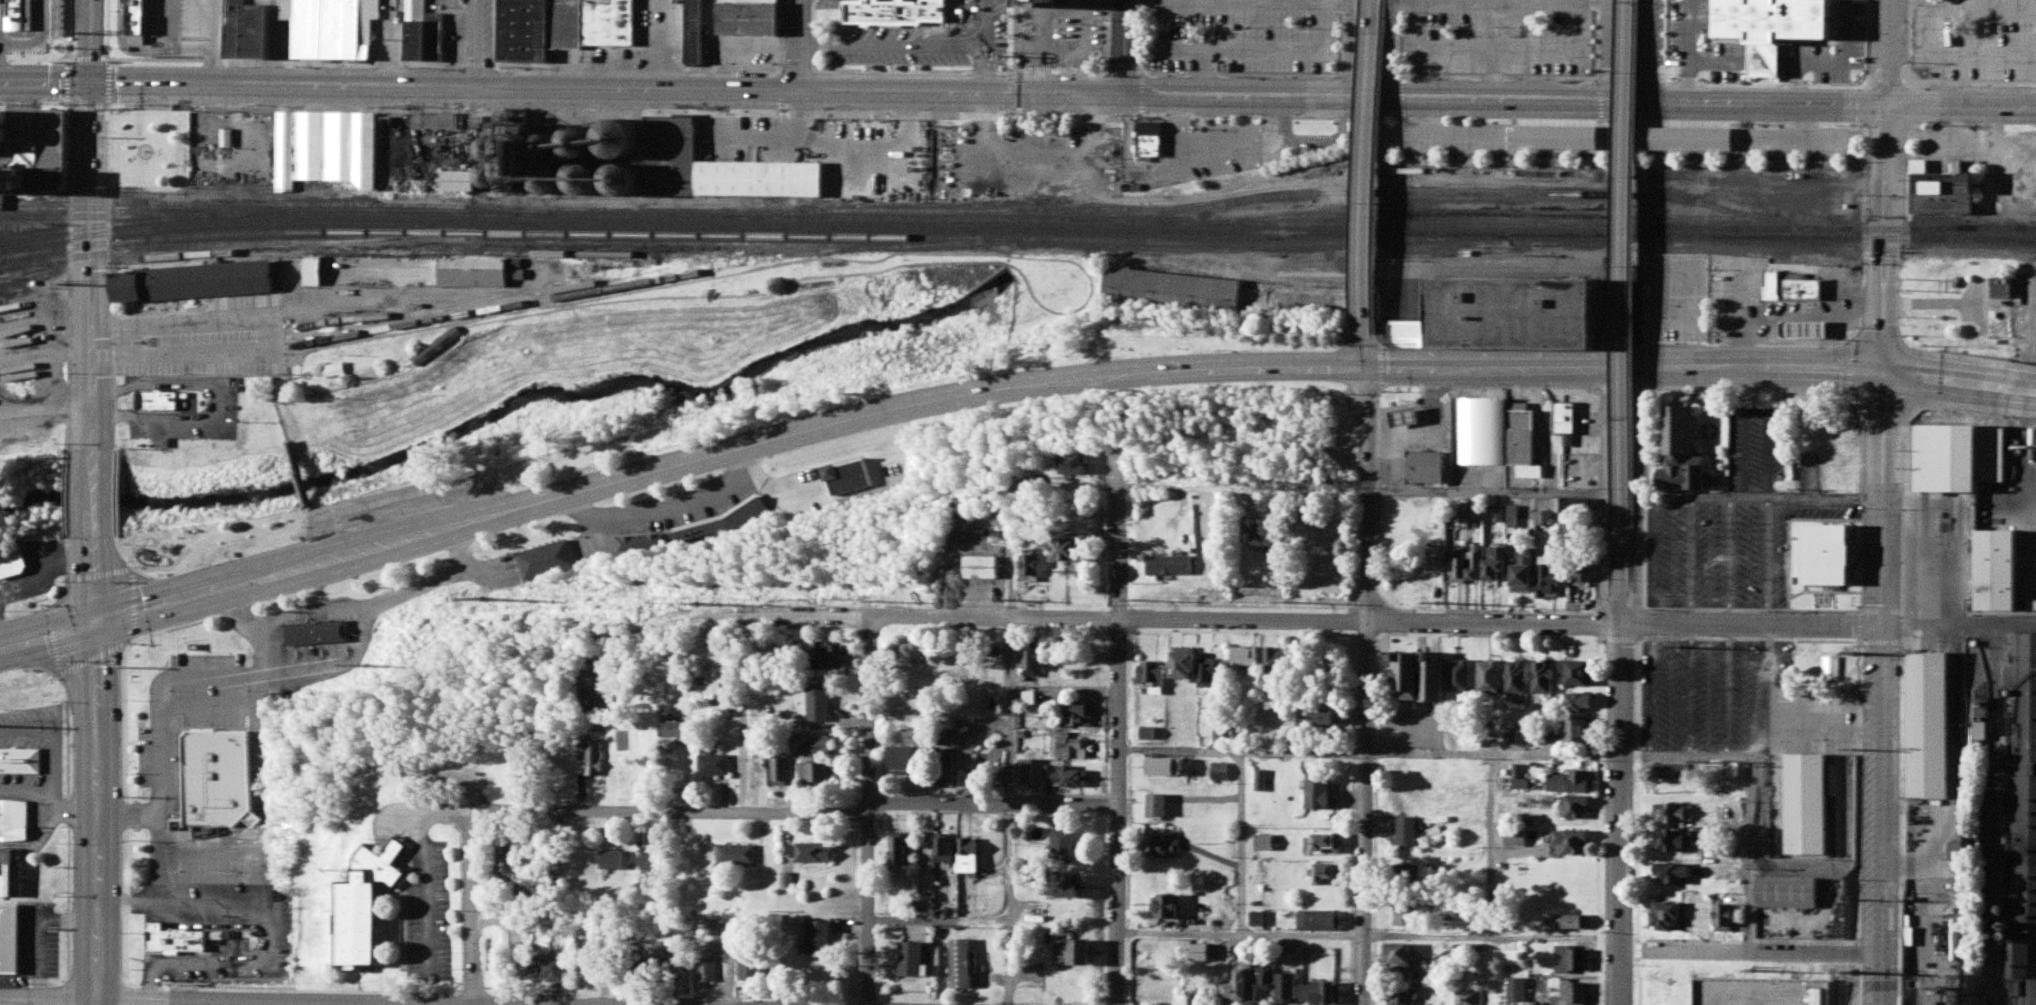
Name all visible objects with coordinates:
building: (896, 11)
building: (1773, 24)
road: (807, 38)
road: (921, 39)
road: (91, 42)
road: (483, 42)
road: (643, 43)
road: (797, 45)
road: (1126, 46)
road: (1352, 47)
road: (1390, 47)
road: (1607, 48)
road: (1649, 48)
road: (985, 49)
road: (1887, 49)
road: (985, 74)
road: (45, 83)
traffic signals: (91, 84)
road: (989, 91)
road: (1961, 101)
building: (718, 170)
road: (1371, 170)
building: (462, 174)
building: (1948, 195)
railway: (1285, 197)
railway: (108, 200)
railway: (276, 207)
railway: (275, 215)
railway: (1494, 216)
railway: (26, 221)
railway: (1294, 224)
railway: (108, 226)
railway: (2021, 228)
railway: (1017, 230)
road: (1885, 230)
railway: (1676, 233)
railway: (737, 237)
railway: (229, 245)
railway: (647, 255)
road: (88, 267)
building: (473, 274)
building: (195, 283)
building: (1521, 288)
building: (1794, 288)
building: (2003, 288)
building: (1172, 294)
railway: (523, 296)
road: (1622, 298)
railway: (544, 301)
building: (1807, 331)
road: (272, 338)
parking lot: (204, 340)
building: (437, 346)
road: (1669, 357)
traffic signals: (1366, 360)
traffic signals: (1882, 362)
road: (1109, 375)
road: (2003, 382)
railway: (324, 393)
building: (1409, 400)
gas station: (1409, 400)
building: (158, 402)
road: (275, 402)
road: (44, 406)
building: (1566, 407)
building: (1484, 419)
building: (1825, 427)
building: (1429, 453)
building: (1685, 453)
building: (1959, 461)
building: (1841, 467)
road: (300, 479)
road: (1368, 481)
road: (1604, 492)
road: (1640, 493)
road: (92, 495)
parking lot: (396, 505)
road: (389, 512)
road: (475, 519)
road: (314, 521)
building: (1828, 555)
building: (1998, 568)
road: (94, 583)
road: (241, 613)
road: (1247, 620)
road: (1751, 625)
traffic signals: (96, 626)
road: (48, 638)
road: (748, 651)
building: (1832, 670)
road: (1881, 683)
parking lot: (1705, 688)
building: (1583, 703)
building: (1930, 725)
building: (1581, 733)
road: (1119, 743)
road: (125, 765)
building: (214, 767)
building: (1677, 774)
building: (1808, 796)
road: (1617, 801)
building: (1576, 809)
road: (871, 811)
road: (94, 813)
road: (757, 813)
road: (1369, 813)
building: (1675, 815)
building: (2024, 816)
road: (69, 819)
building: (1675, 843)
building: (1574, 844)
building: (1960, 858)
building: (1678, 876)
building: (1789, 890)
building: (365, 900)
road: (472, 911)
building: (1669, 918)
building: (1705, 918)
building: (1729, 919)
building: (1572, 924)
building: (9, 935)
road: (1748, 952)
building: (1574, 962)
building: (1720, 984)
power substation: (1933, 990)
power substation: (1762, 991)
building: (1570, 993)
road: (47, 999)
road: (95, 1003)
road: (96, 1003)
road: (188, 1003)
road: (290, 1003)

